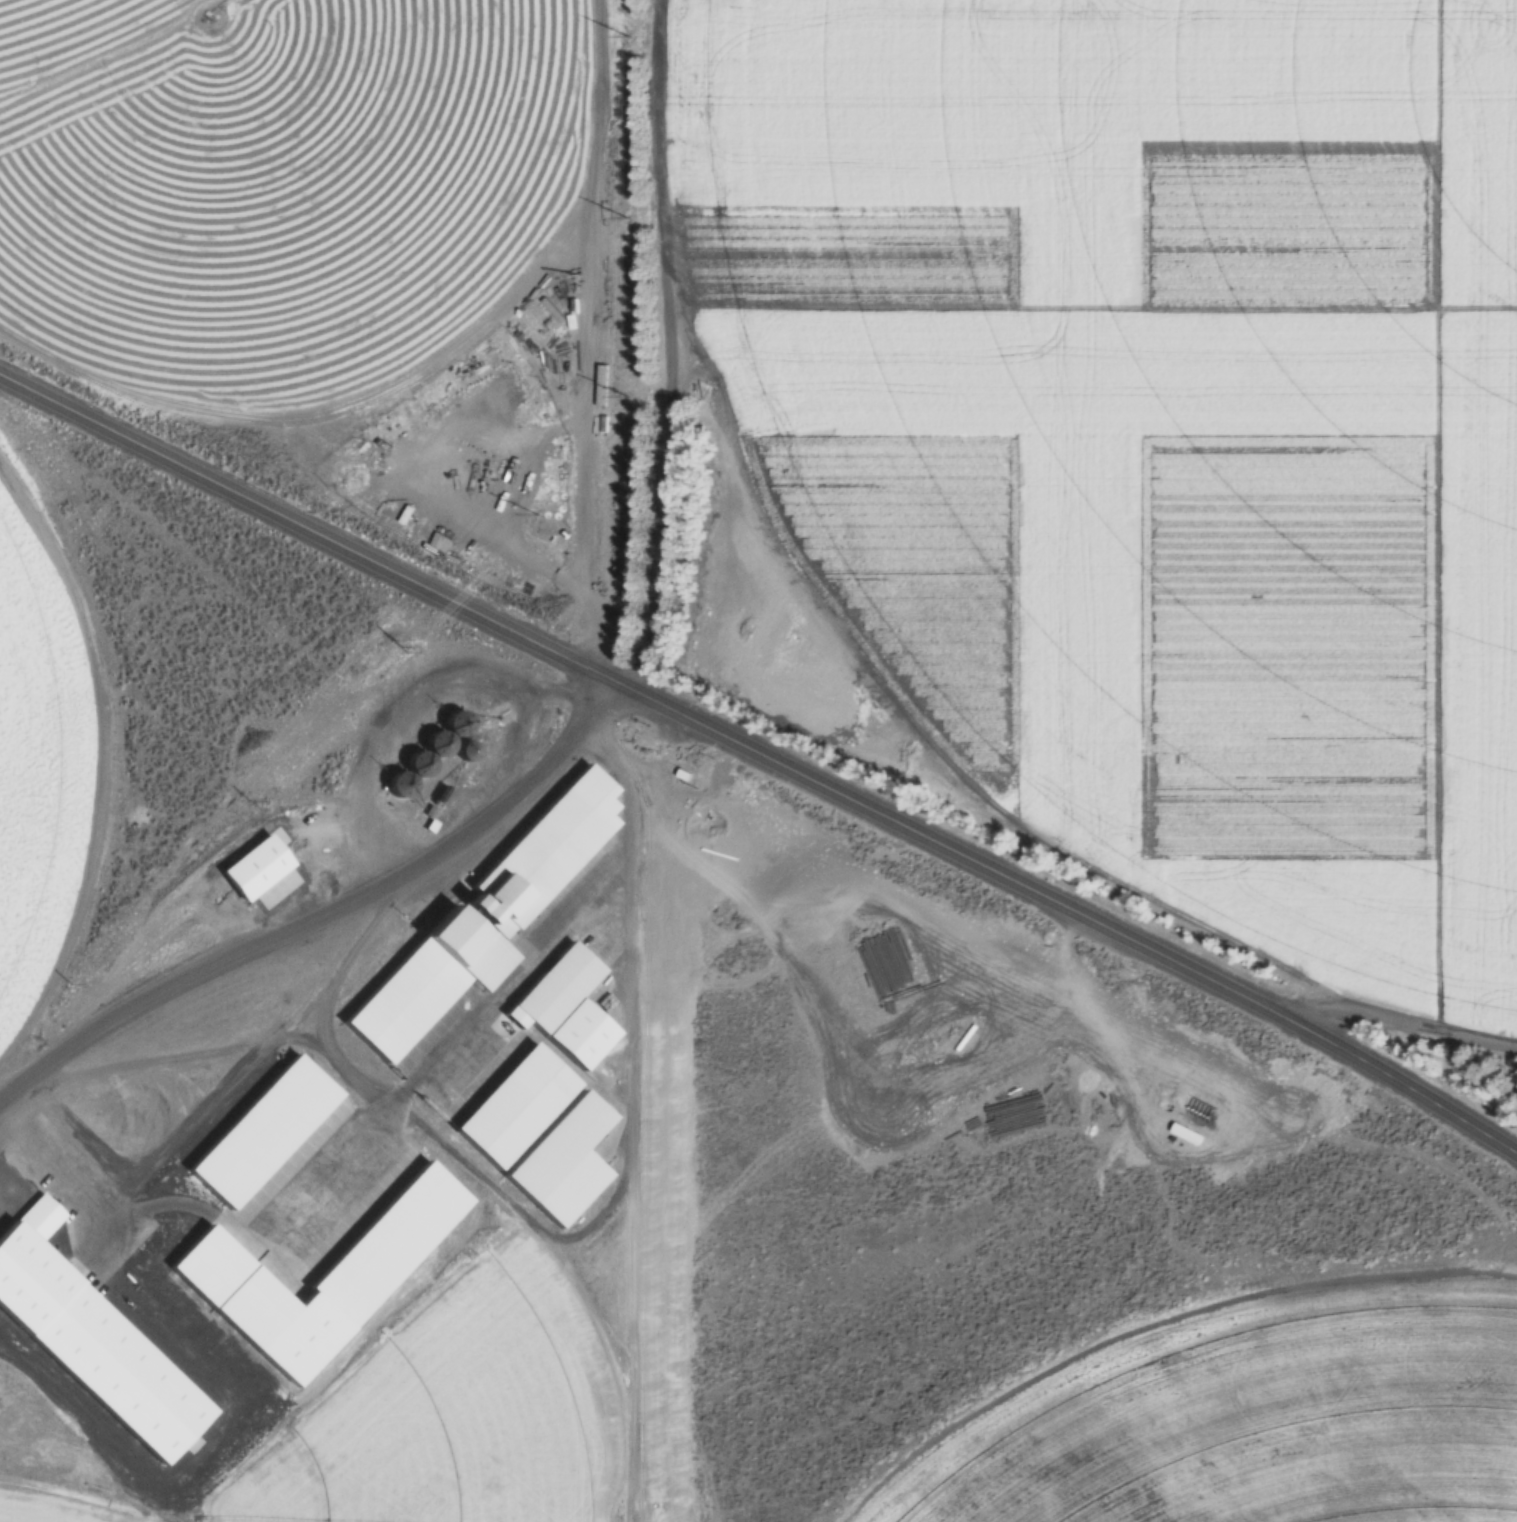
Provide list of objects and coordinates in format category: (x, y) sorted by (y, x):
crop: (63, 25)
road: (612, 339)
crop: (1169, 417)
building: (428, 753)
road: (761, 761)
building: (539, 856)
road: (325, 920)
building: (562, 983)
building: (385, 1032)
building: (309, 1089)
building: (544, 1125)
building: (319, 1256)

